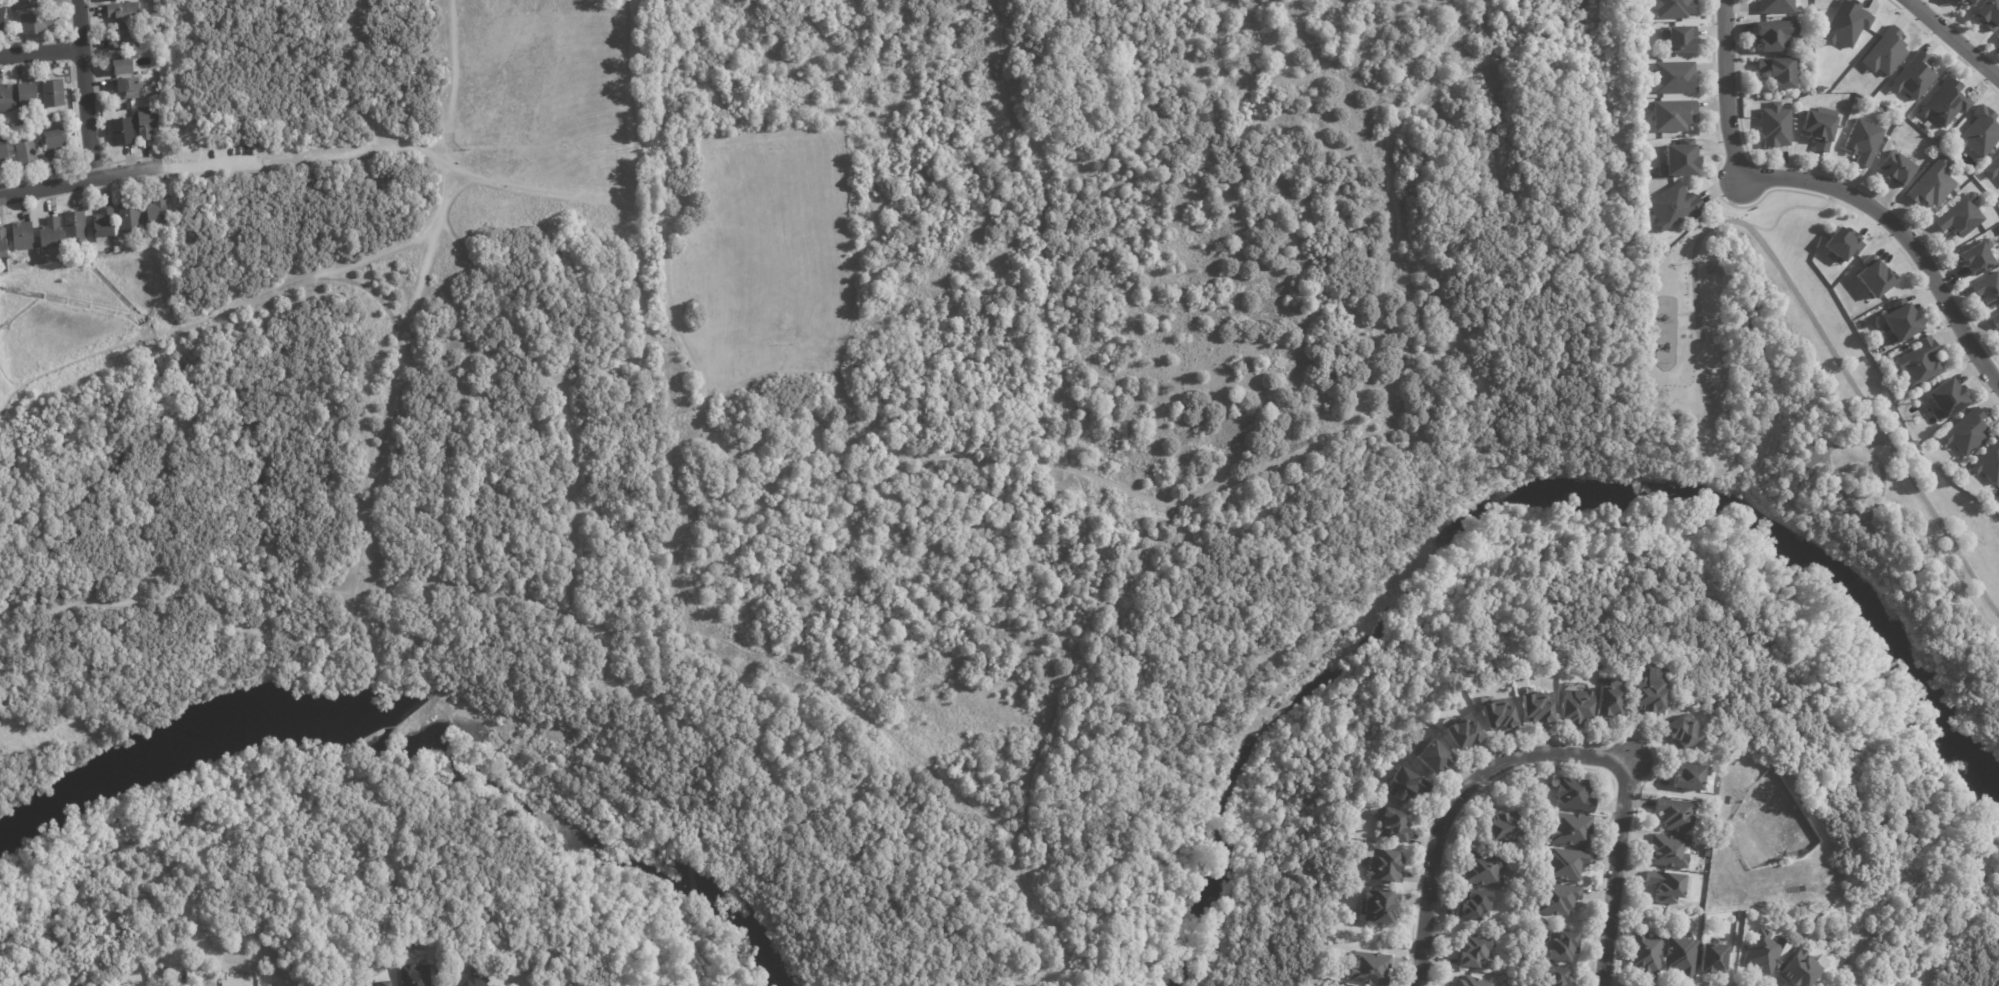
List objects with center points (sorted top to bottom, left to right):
building: (107, 0)
building: (1964, 2)
building: (37, 3)
building: (1775, 6)
building: (1672, 8)
building: (123, 12)
building: (2, 13)
building: (1987, 13)
building: (35, 22)
building: (1845, 23)
building: (1774, 34)
building: (1998, 37)
building: (124, 38)
building: (1677, 38)
road: (1950, 40)
road: (39, 53)
building: (1884, 53)
building: (122, 66)
building: (1778, 71)
building: (1672, 77)
building: (1913, 78)
park: (536, 79)
road: (445, 83)
road: (83, 87)
building: (126, 87)
building: (1818, 89)
road: (1725, 91)
building: (52, 93)
building: (26, 94)
building: (5, 98)
road: (631, 101)
building: (1943, 103)
building: (114, 115)
building: (1671, 115)
building: (48, 116)
building: (146, 122)
building: (1774, 125)
building: (1817, 129)
building: (120, 131)
building: (1979, 132)
building: (1863, 141)
building: (55, 144)
building: (26, 151)
building: (3, 154)
road: (321, 158)
building: (1680, 159)
road: (212, 164)
building: (1992, 168)
building: (1895, 170)
road: (82, 177)
building: (1932, 184)
road: (462, 186)
building: (1672, 207)
building: (157, 210)
road: (1785, 215)
building: (1959, 217)
building: (128, 218)
building: (104, 222)
road: (1733, 222)
building: (74, 224)
building: (1998, 229)
building: (50, 232)
building: (22, 236)
road: (1902, 238)
building: (3, 243)
building: (1842, 245)
building: (118, 247)
park: (775, 249)
building: (1975, 258)
building: (1874, 278)
building: (1987, 291)
road: (668, 293)
road: (371, 298)
road: (1682, 314)
park: (77, 316)
road: (205, 317)
building: (1994, 320)
building: (1900, 322)
road: (1461, 338)
road: (1443, 350)
road: (1372, 352)
road: (618, 364)
building: (1918, 364)
road: (7, 383)
road: (556, 395)
building: (1945, 398)
road: (855, 407)
park: (847, 409)
road: (1385, 422)
building: (1964, 432)
road: (1873, 439)
road: (1804, 455)
building: (1988, 463)
road: (253, 465)
road: (1074, 466)
park: (1824, 473)
road: (1392, 481)
building: (1998, 493)
building: (1998, 498)
road: (1848, 511)
road: (1618, 561)
road: (359, 568)
road: (308, 576)
road: (780, 666)
building: (1526, 671)
building: (1648, 694)
building: (1609, 697)
building: (1575, 705)
building: (1536, 707)
building: (1495, 712)
building: (1461, 731)
building: (1680, 731)
building: (1431, 755)
building: (1687, 776)
building: (1401, 783)
building: (1572, 794)
road: (1455, 801)
road: (712, 804)
building: (1672, 814)
building: (1392, 824)
building: (1497, 826)
building: (1570, 829)
building: (1667, 851)
building: (1565, 863)
building: (1383, 866)
building: (1482, 869)
road: (1616, 872)
building: (1665, 885)
building: (1555, 898)
building: (1475, 904)
building: (1374, 906)
road: (1048, 925)
road: (1736, 944)
road: (1080, 946)
building: (1561, 946)
building: (1764, 949)
building: (1644, 951)
building: (1474, 953)
building: (1680, 956)
building: (1712, 959)
building: (1368, 968)
building: (1801, 969)
building: (416, 976)
building: (1552, 976)
road: (525, 980)
road: (533, 980)
building: (475, 981)
building: (1471, 982)
building: (254, 983)
building: (386, 983)
building: (172, 985)

